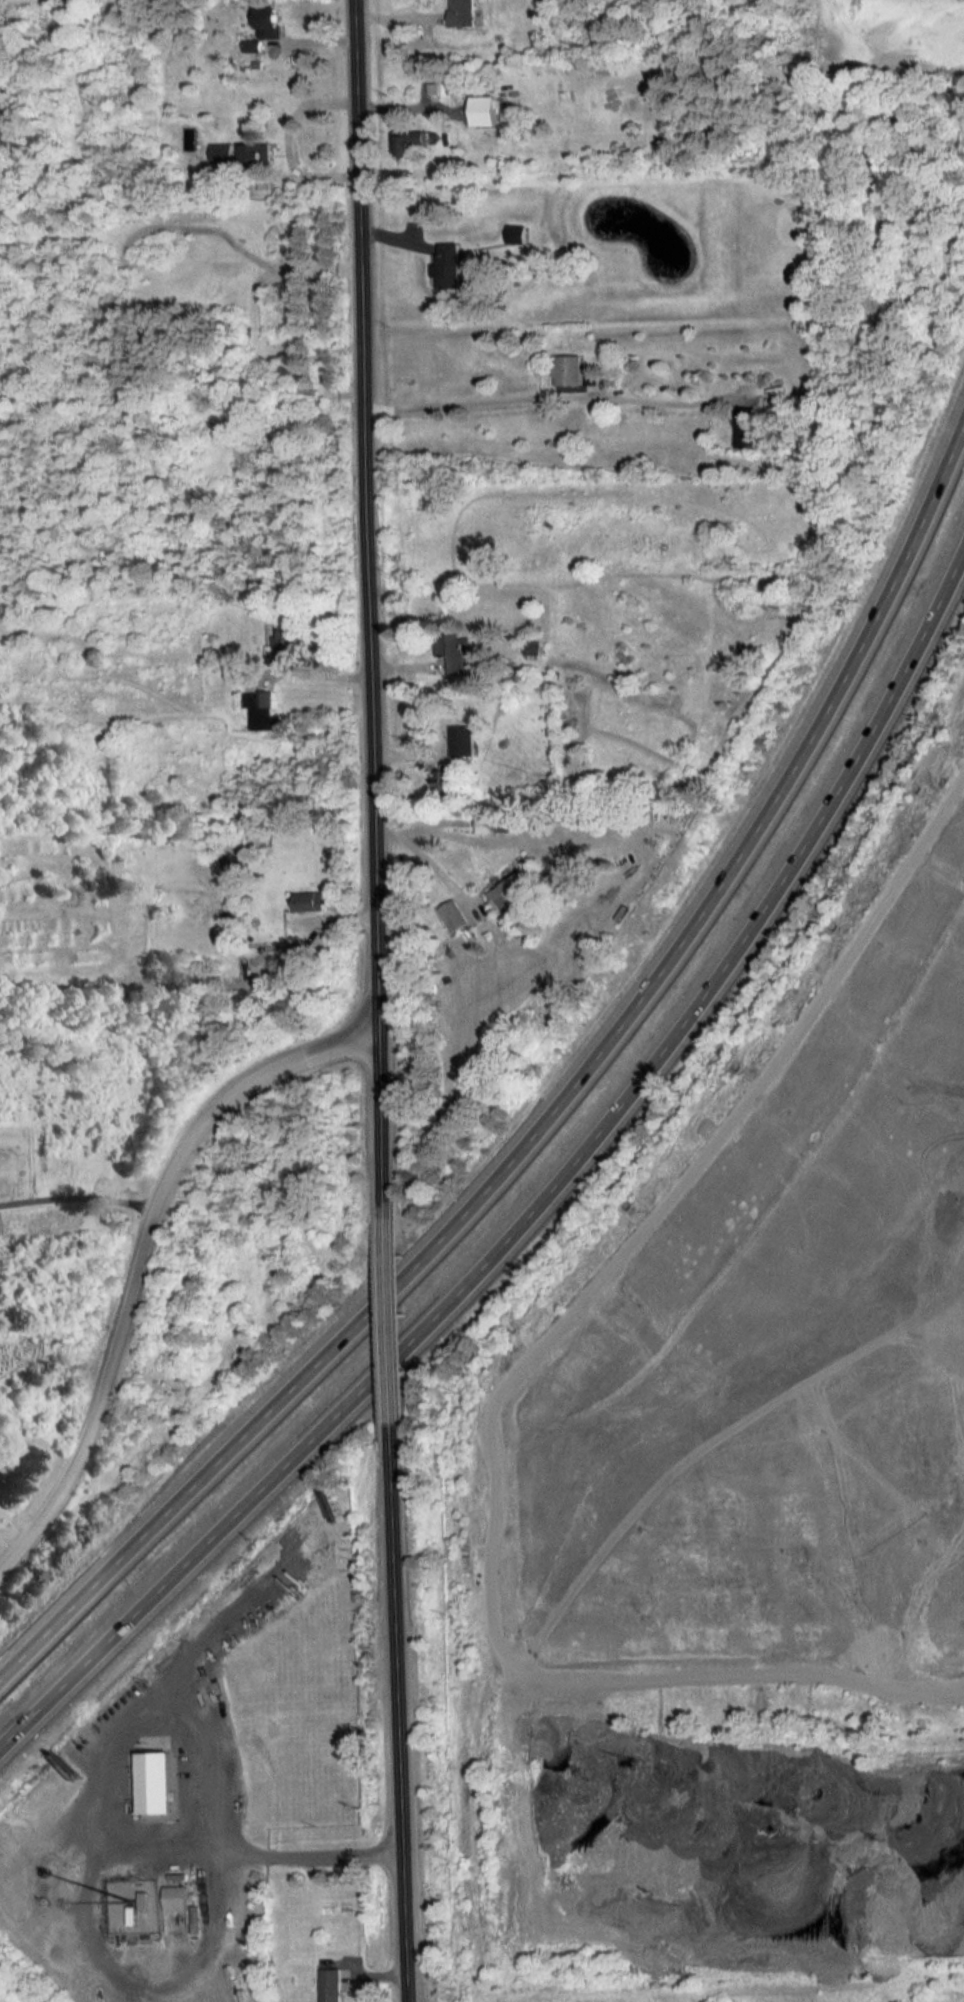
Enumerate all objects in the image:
building: (462, 12)
building: (267, 22)
building: (454, 85)
building: (411, 140)
building: (253, 152)
building: (220, 153)
building: (448, 264)
building: (570, 369)
building: (293, 373)
road: (485, 393)
building: (728, 427)
road: (380, 604)
building: (449, 642)
building: (284, 645)
road: (308, 672)
building: (259, 709)
building: (445, 783)
building: (494, 822)
road: (425, 852)
building: (514, 886)
building: (309, 901)
building: (451, 915)
road: (553, 1119)
road: (86, 1191)
road: (540, 1196)
road: (149, 1261)
road: (399, 1319)
landfill: (736, 1502)
road: (411, 1715)
building: (149, 1783)
road: (221, 1854)
road: (346, 1854)
building: (175, 1897)
building: (330, 1984)

